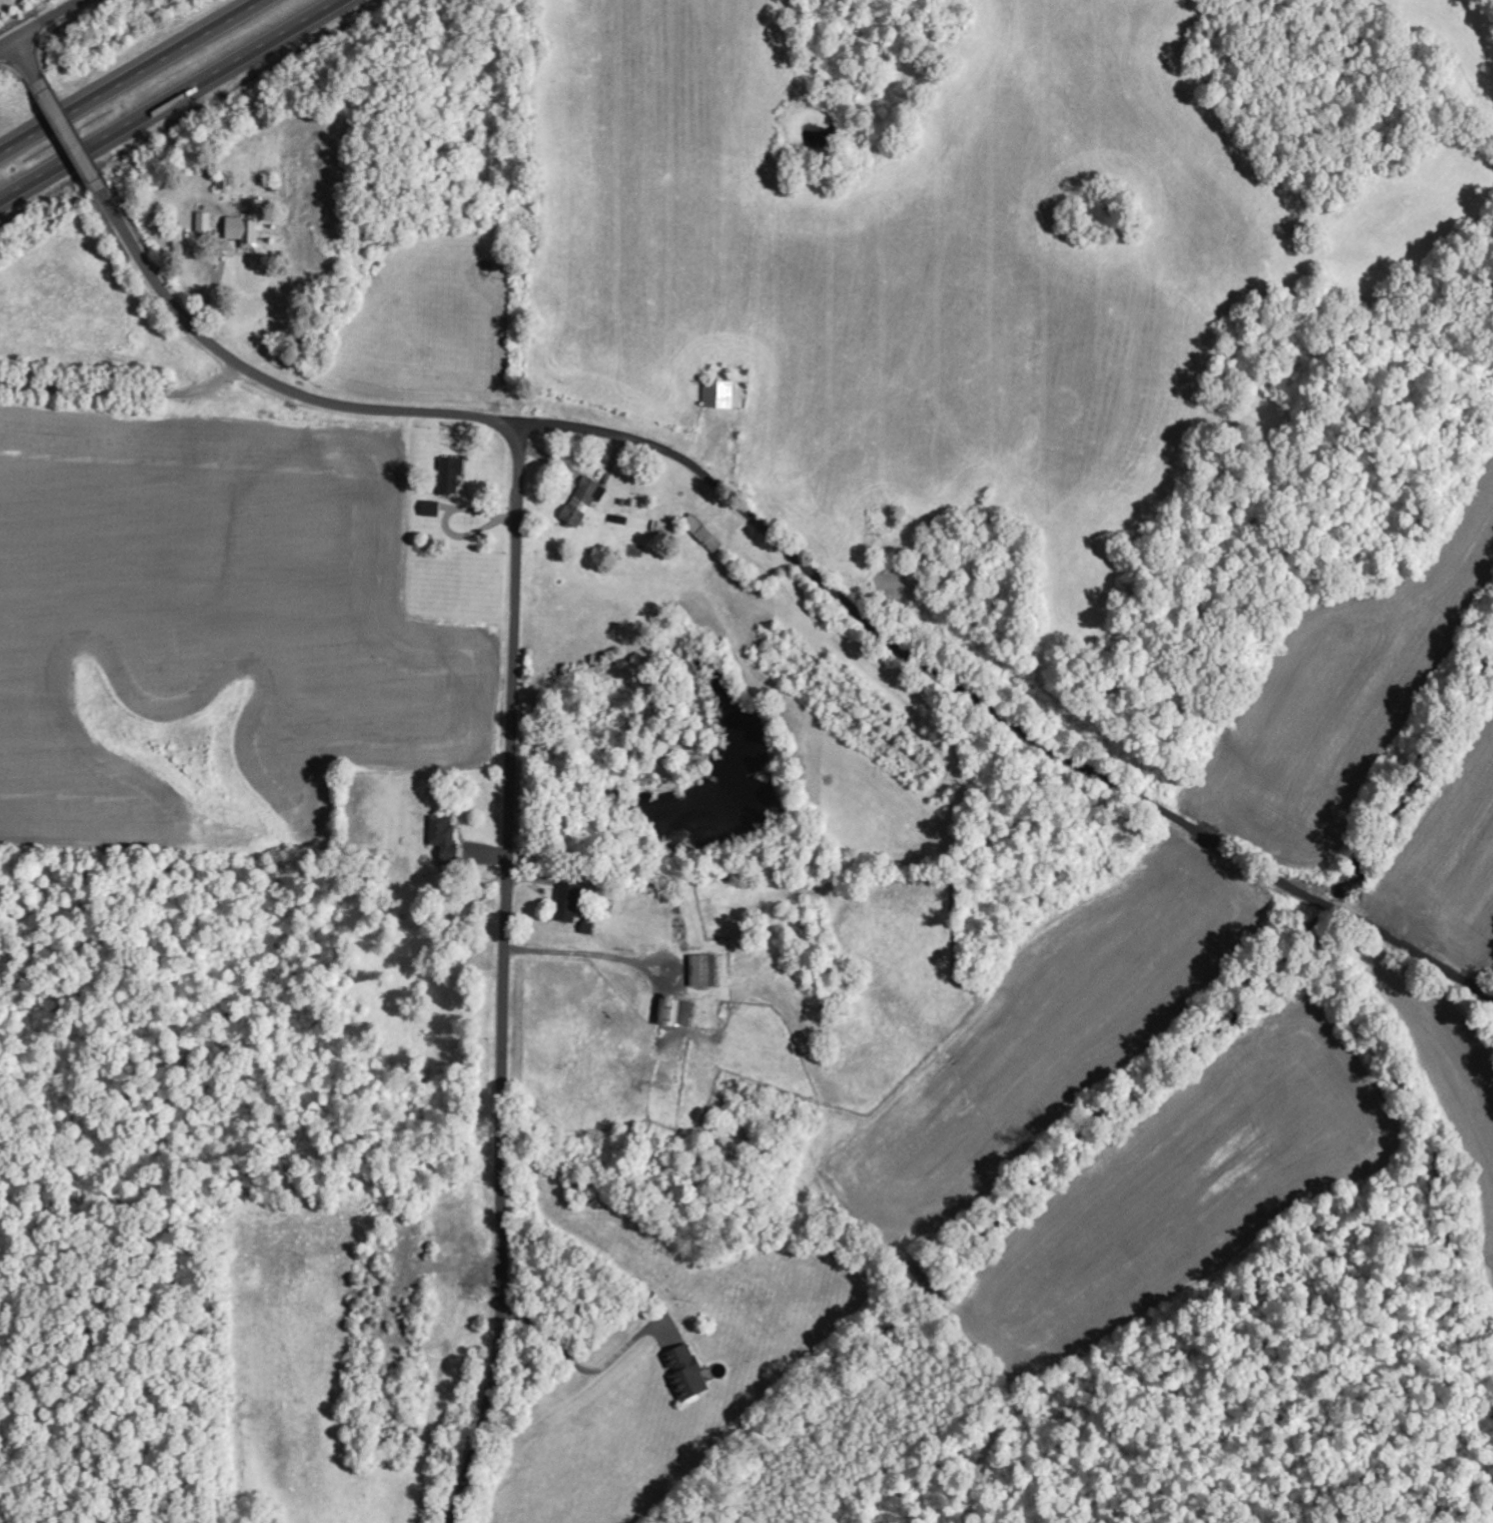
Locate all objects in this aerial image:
road: (40, 23)
road: (27, 58)
road: (127, 74)
road: (173, 101)
road: (70, 133)
building: (204, 221)
building: (244, 231)
road: (267, 378)
road: (127, 388)
building: (718, 394)
building: (450, 475)
building: (582, 503)
building: (431, 509)
building: (703, 533)
road: (996, 713)
building: (444, 835)
building: (568, 899)
building: (703, 969)
road: (507, 975)
building: (676, 1011)
building: (685, 1371)

